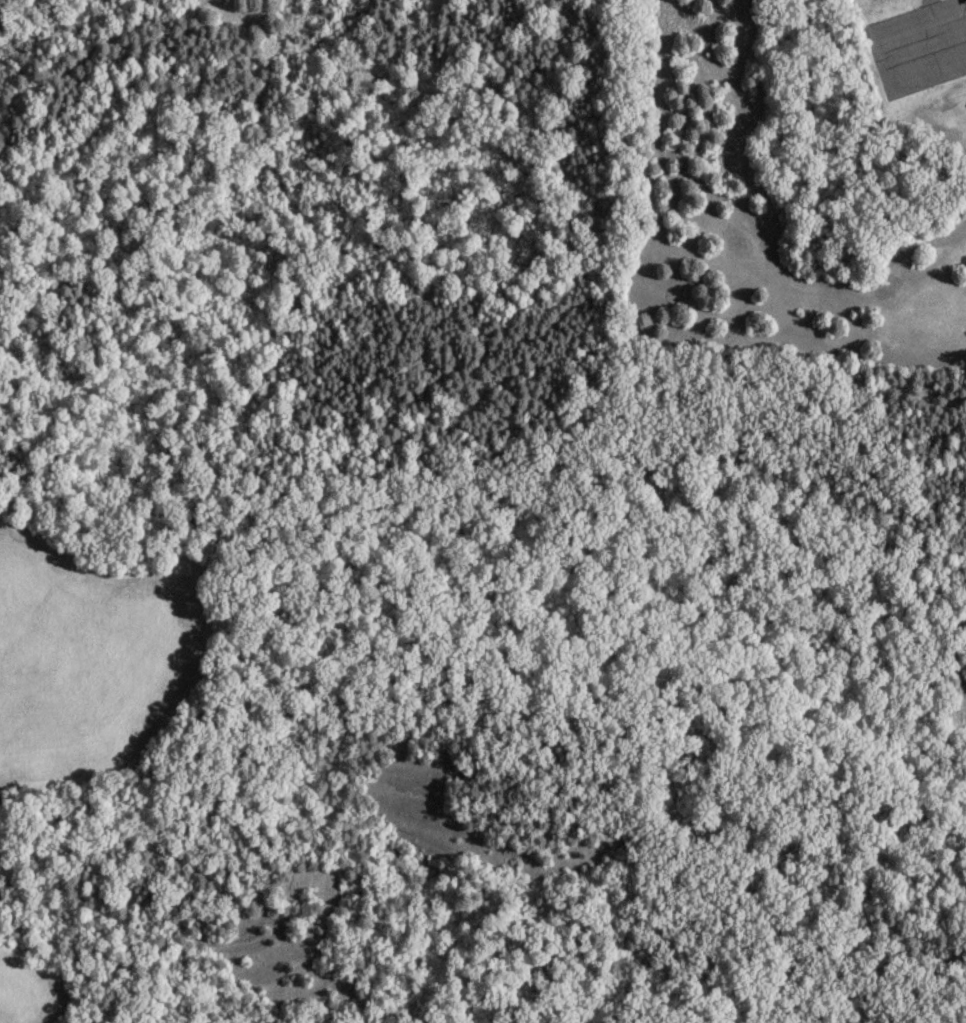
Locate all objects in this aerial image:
building: (965, 0)
road: (932, 7)
road: (950, 7)
road: (883, 69)

